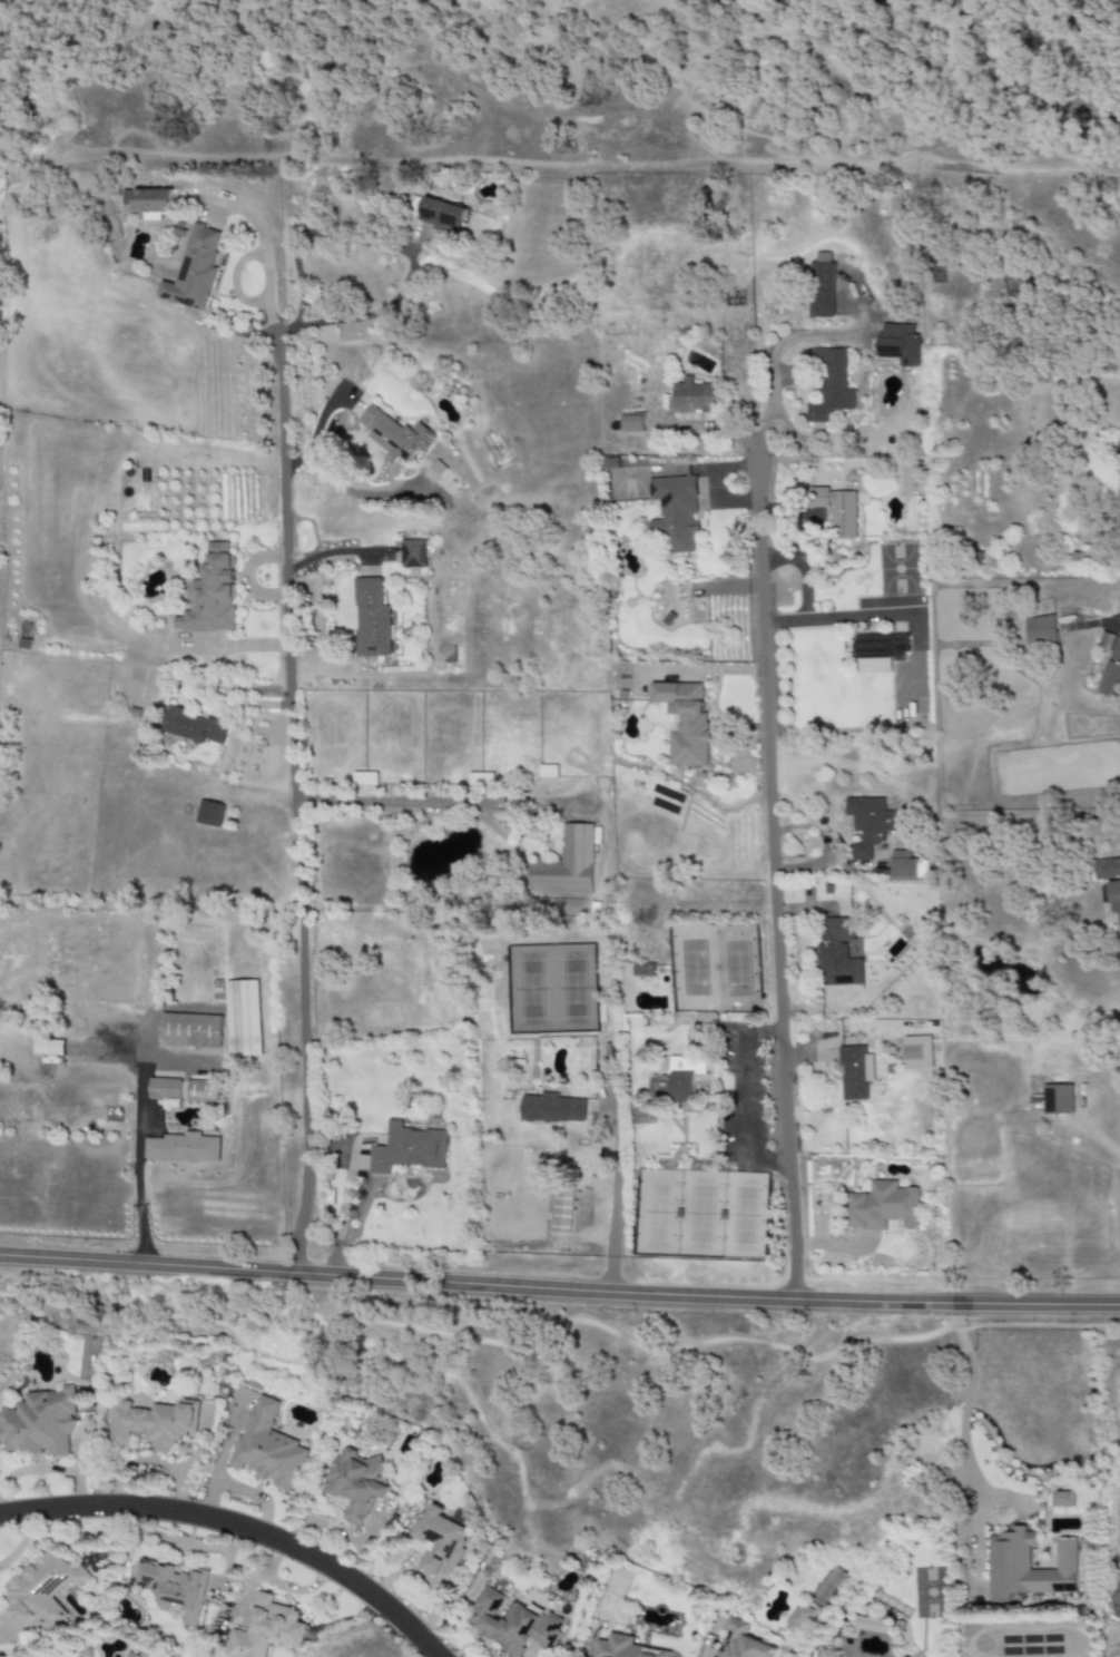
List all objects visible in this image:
building: (149, 203)
building: (441, 215)
road: (394, 247)
building: (194, 271)
building: (821, 286)
road: (785, 336)
building: (898, 344)
building: (831, 385)
building: (696, 398)
road: (317, 422)
building: (633, 423)
building: (394, 434)
building: (434, 472)
building: (1112, 508)
building: (836, 511)
building: (675, 513)
road: (337, 553)
building: (413, 555)
road: (799, 572)
road: (245, 576)
building: (210, 595)
building: (371, 619)
road: (841, 619)
building: (1041, 630)
building: (878, 651)
building: (1111, 666)
building: (684, 720)
building: (194, 726)
building: (364, 778)
road: (439, 803)
road: (295, 810)
building: (209, 813)
building: (868, 824)
building: (566, 864)
building: (902, 865)
road: (770, 870)
building: (922, 870)
building: (1110, 882)
building: (853, 949)
building: (836, 954)
park: (714, 967)
building: (643, 969)
park: (550, 988)
building: (243, 1019)
building: (190, 1031)
building: (49, 1047)
building: (916, 1052)
building: (854, 1072)
building: (682, 1080)
building: (165, 1089)
building: (200, 1090)
building: (1058, 1099)
road: (739, 1100)
building: (551, 1109)
road: (139, 1119)
building: (181, 1148)
building: (407, 1149)
road: (356, 1157)
road: (395, 1188)
road: (615, 1190)
road: (354, 1206)
building: (883, 1206)
building: (561, 1212)
park: (699, 1214)
road: (334, 1256)
road: (559, 1290)
road: (493, 1342)
building: (40, 1423)
building: (154, 1424)
road: (963, 1431)
building: (268, 1448)
building: (357, 1483)
building: (1063, 1499)
road: (237, 1527)
building: (441, 1539)
building: (1028, 1567)
building: (175, 1589)
building: (40, 1594)
building: (799, 1620)
building: (511, 1621)
building: (874, 1625)
building: (266, 1629)
building: (741, 1643)
building: (625, 1648)
building: (829, 1654)
building: (130, 1655)

